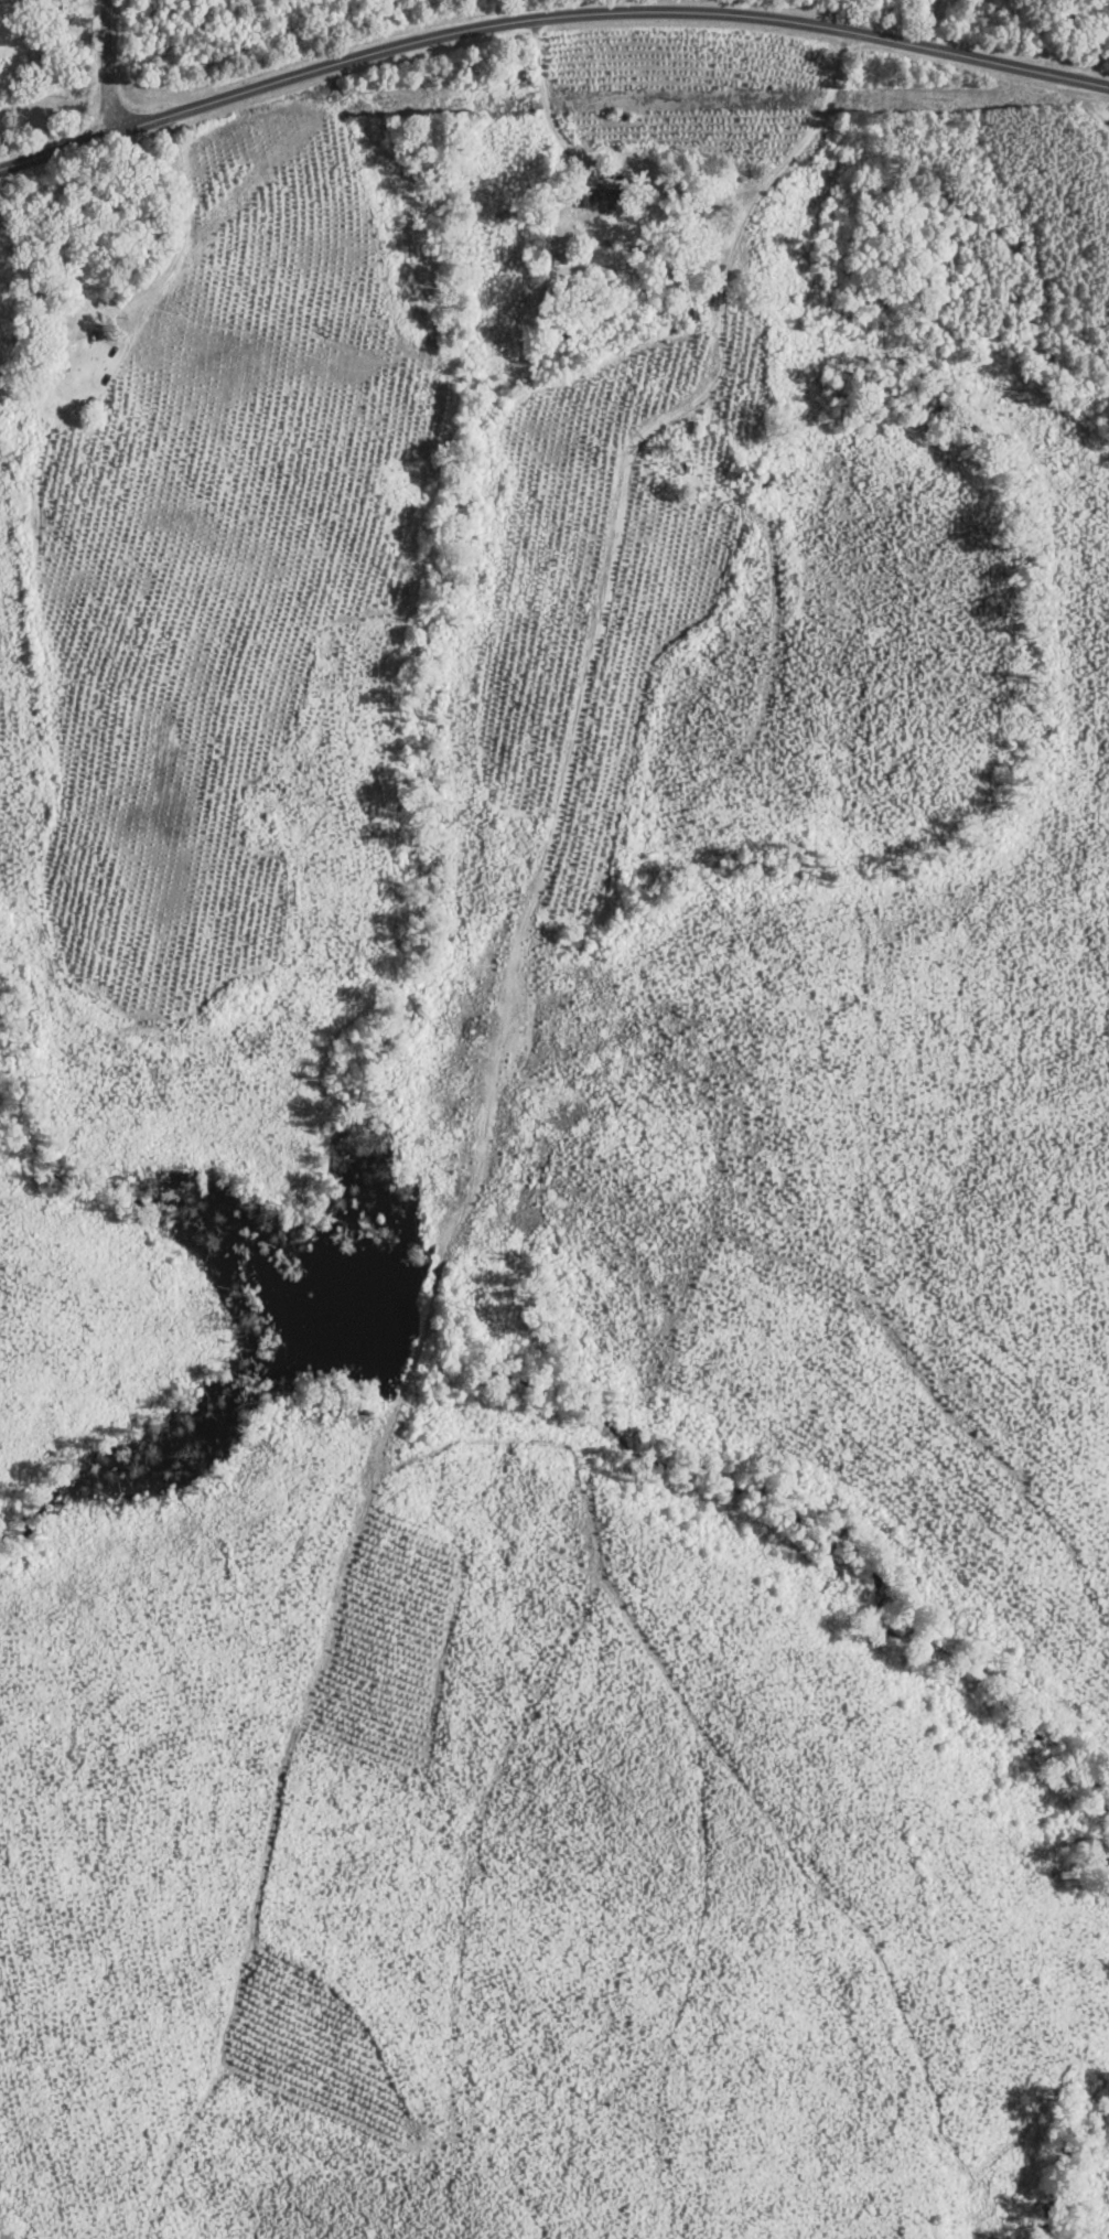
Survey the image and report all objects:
road: (547, 18)
building: (36, 64)
road: (110, 66)
road: (561, 139)
building: (604, 199)
building: (94, 334)

